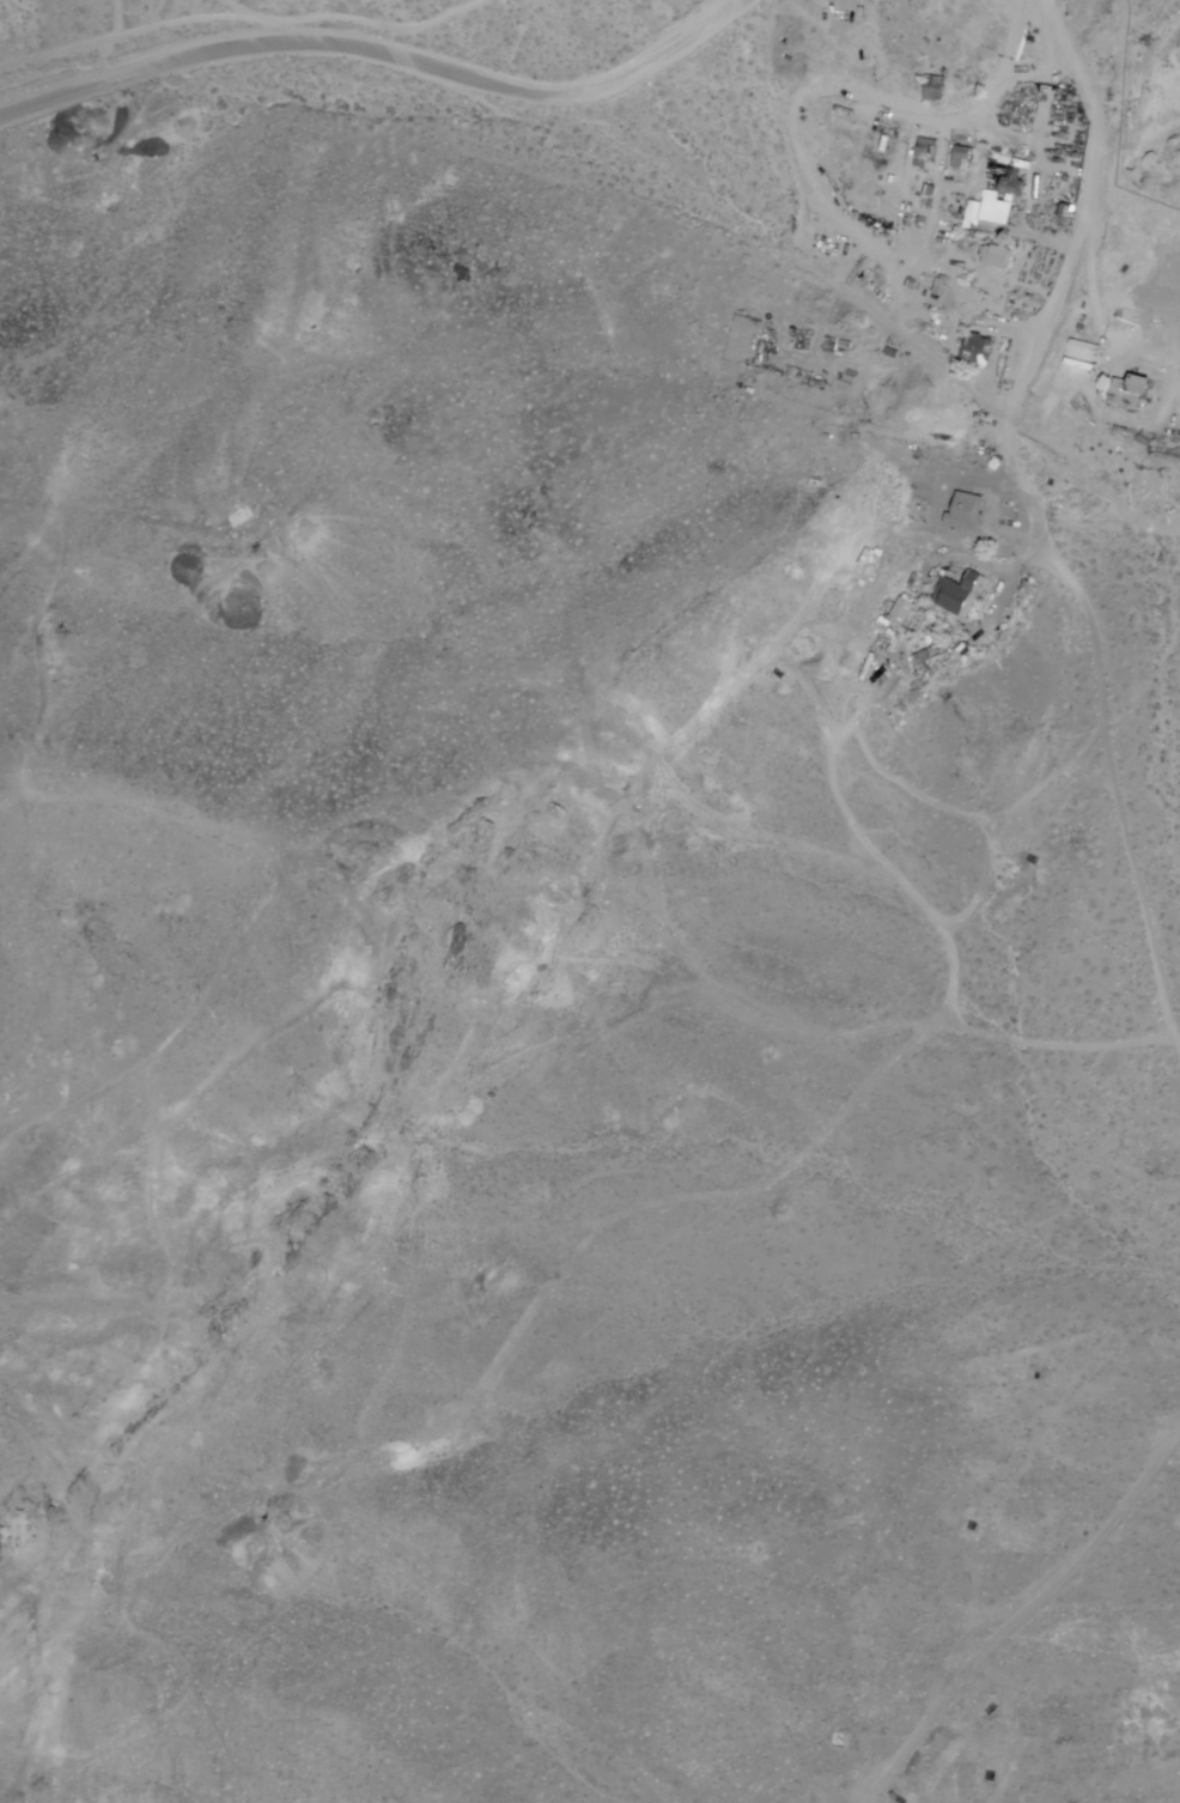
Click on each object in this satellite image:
road: (381, 54)
building: (927, 90)
building: (920, 154)
building: (1004, 188)
building: (992, 257)
road: (1046, 314)
building: (972, 351)
building: (1120, 393)
building: (959, 511)
building: (953, 595)
building: (895, 613)

